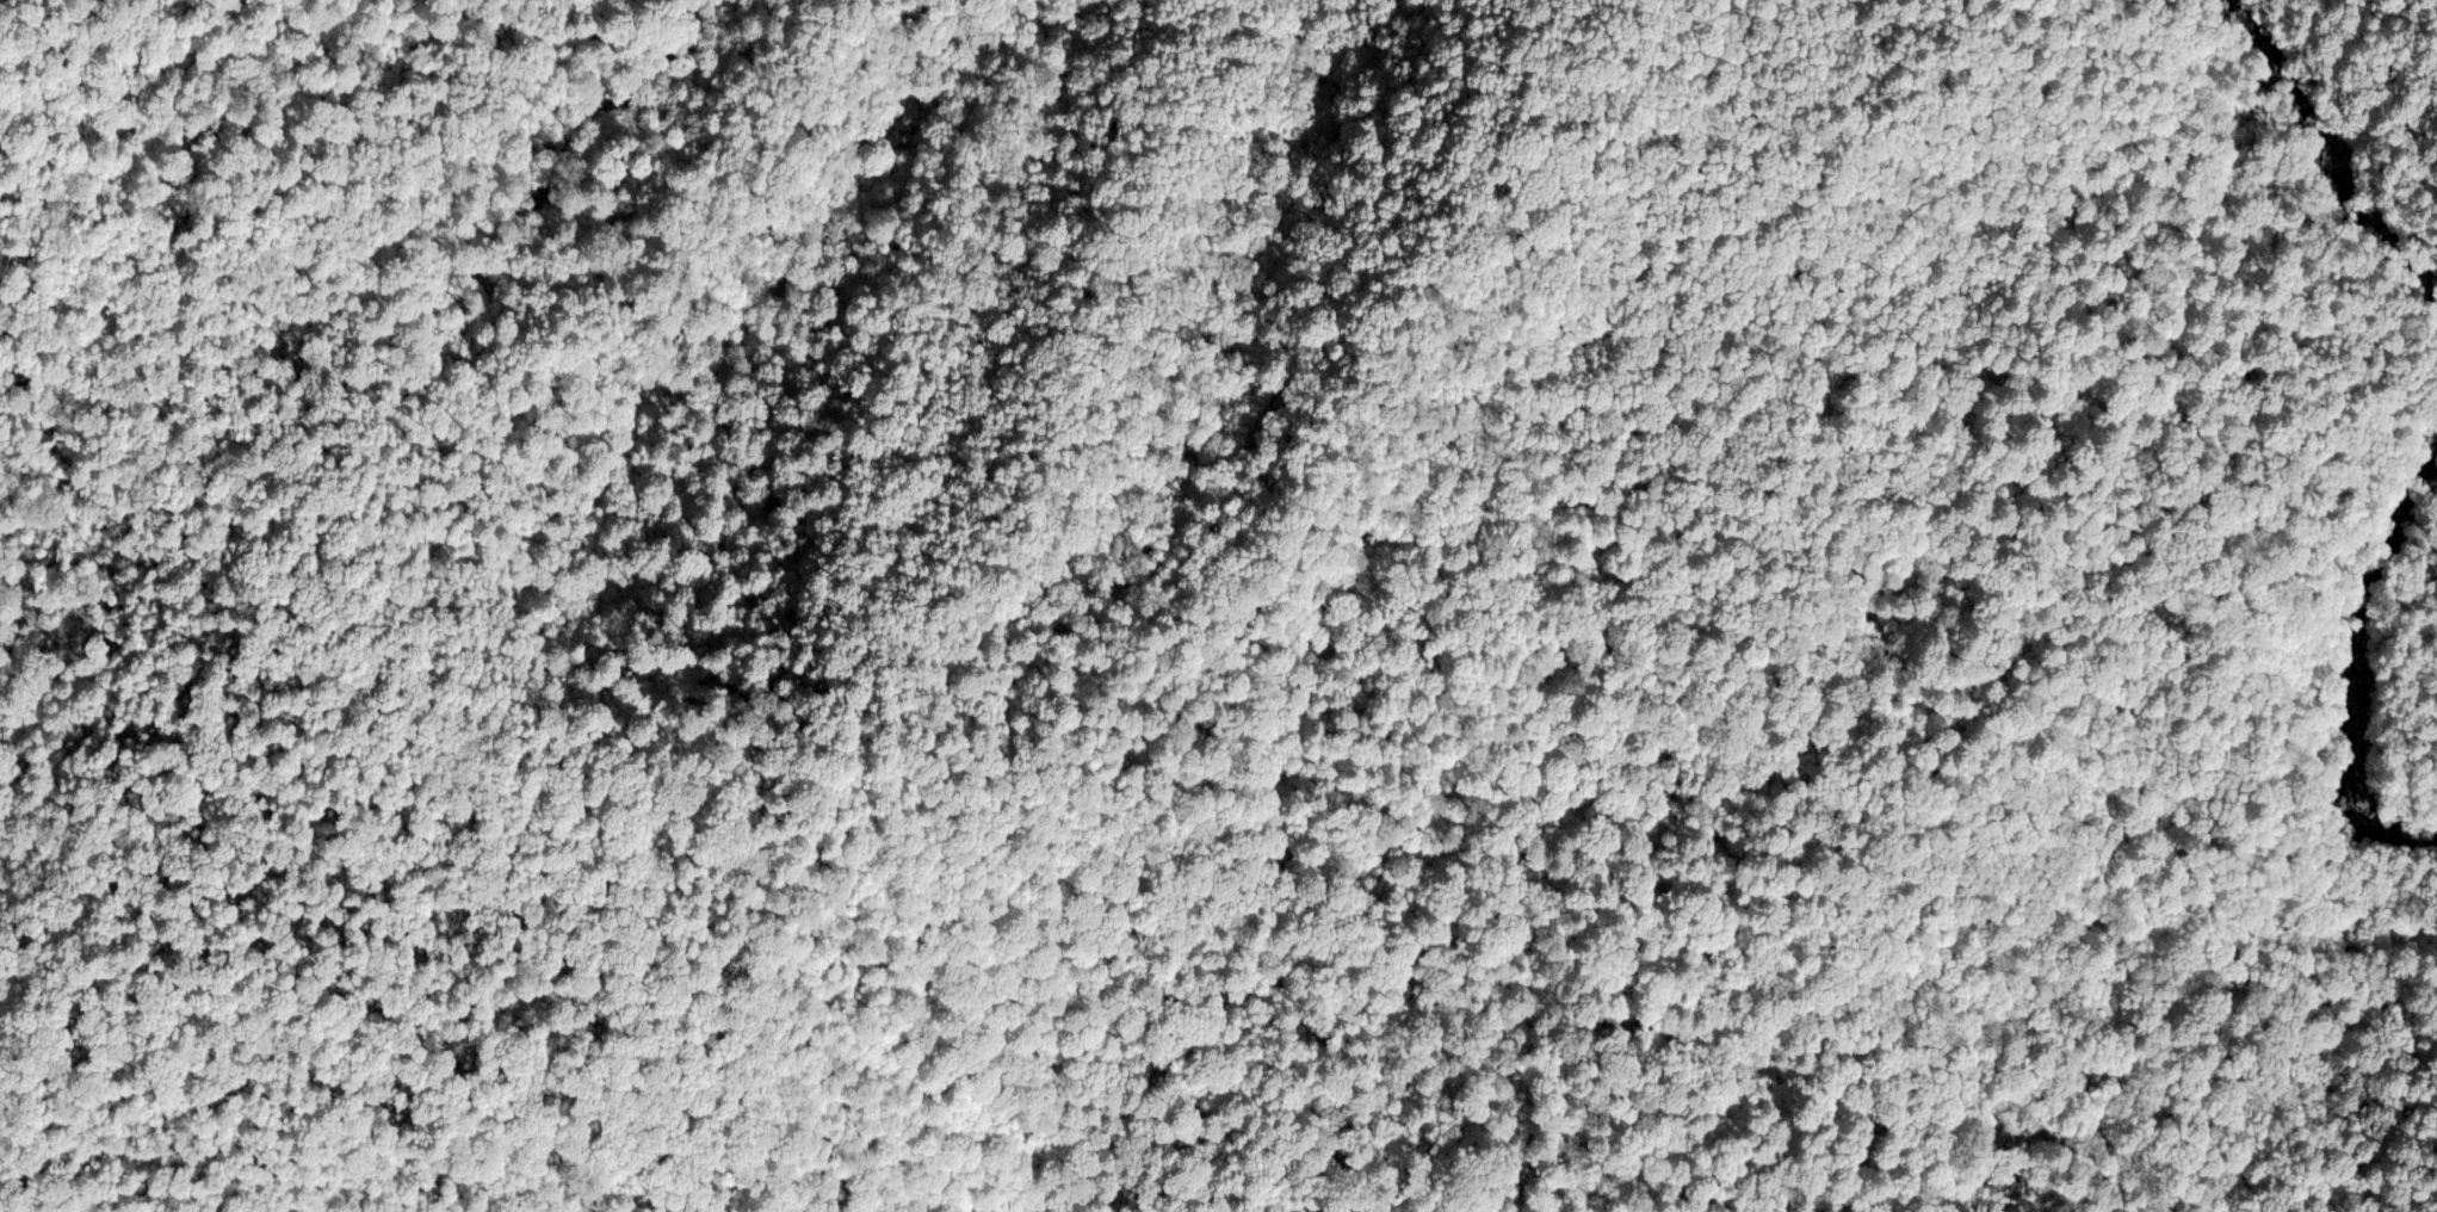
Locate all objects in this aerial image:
road: (2368, 117)
river: (2352, 138)
river: (2368, 663)

